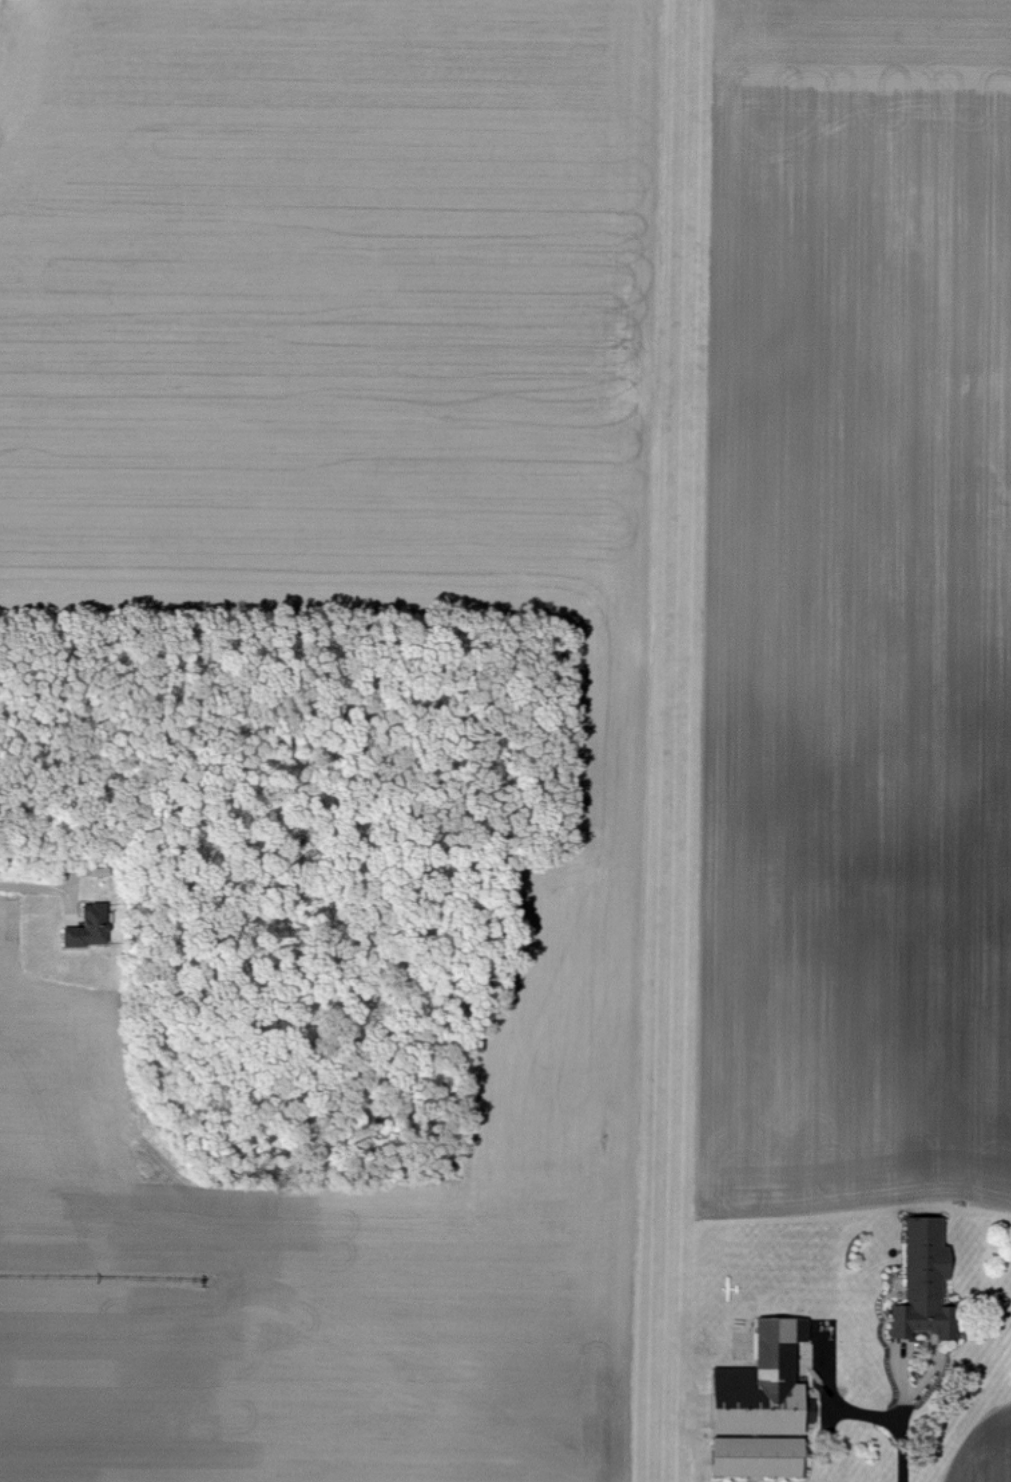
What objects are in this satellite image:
road: (28, 889)
building: (86, 928)
building: (922, 1279)
building: (758, 1403)
road: (905, 1423)
road: (702, 1458)

